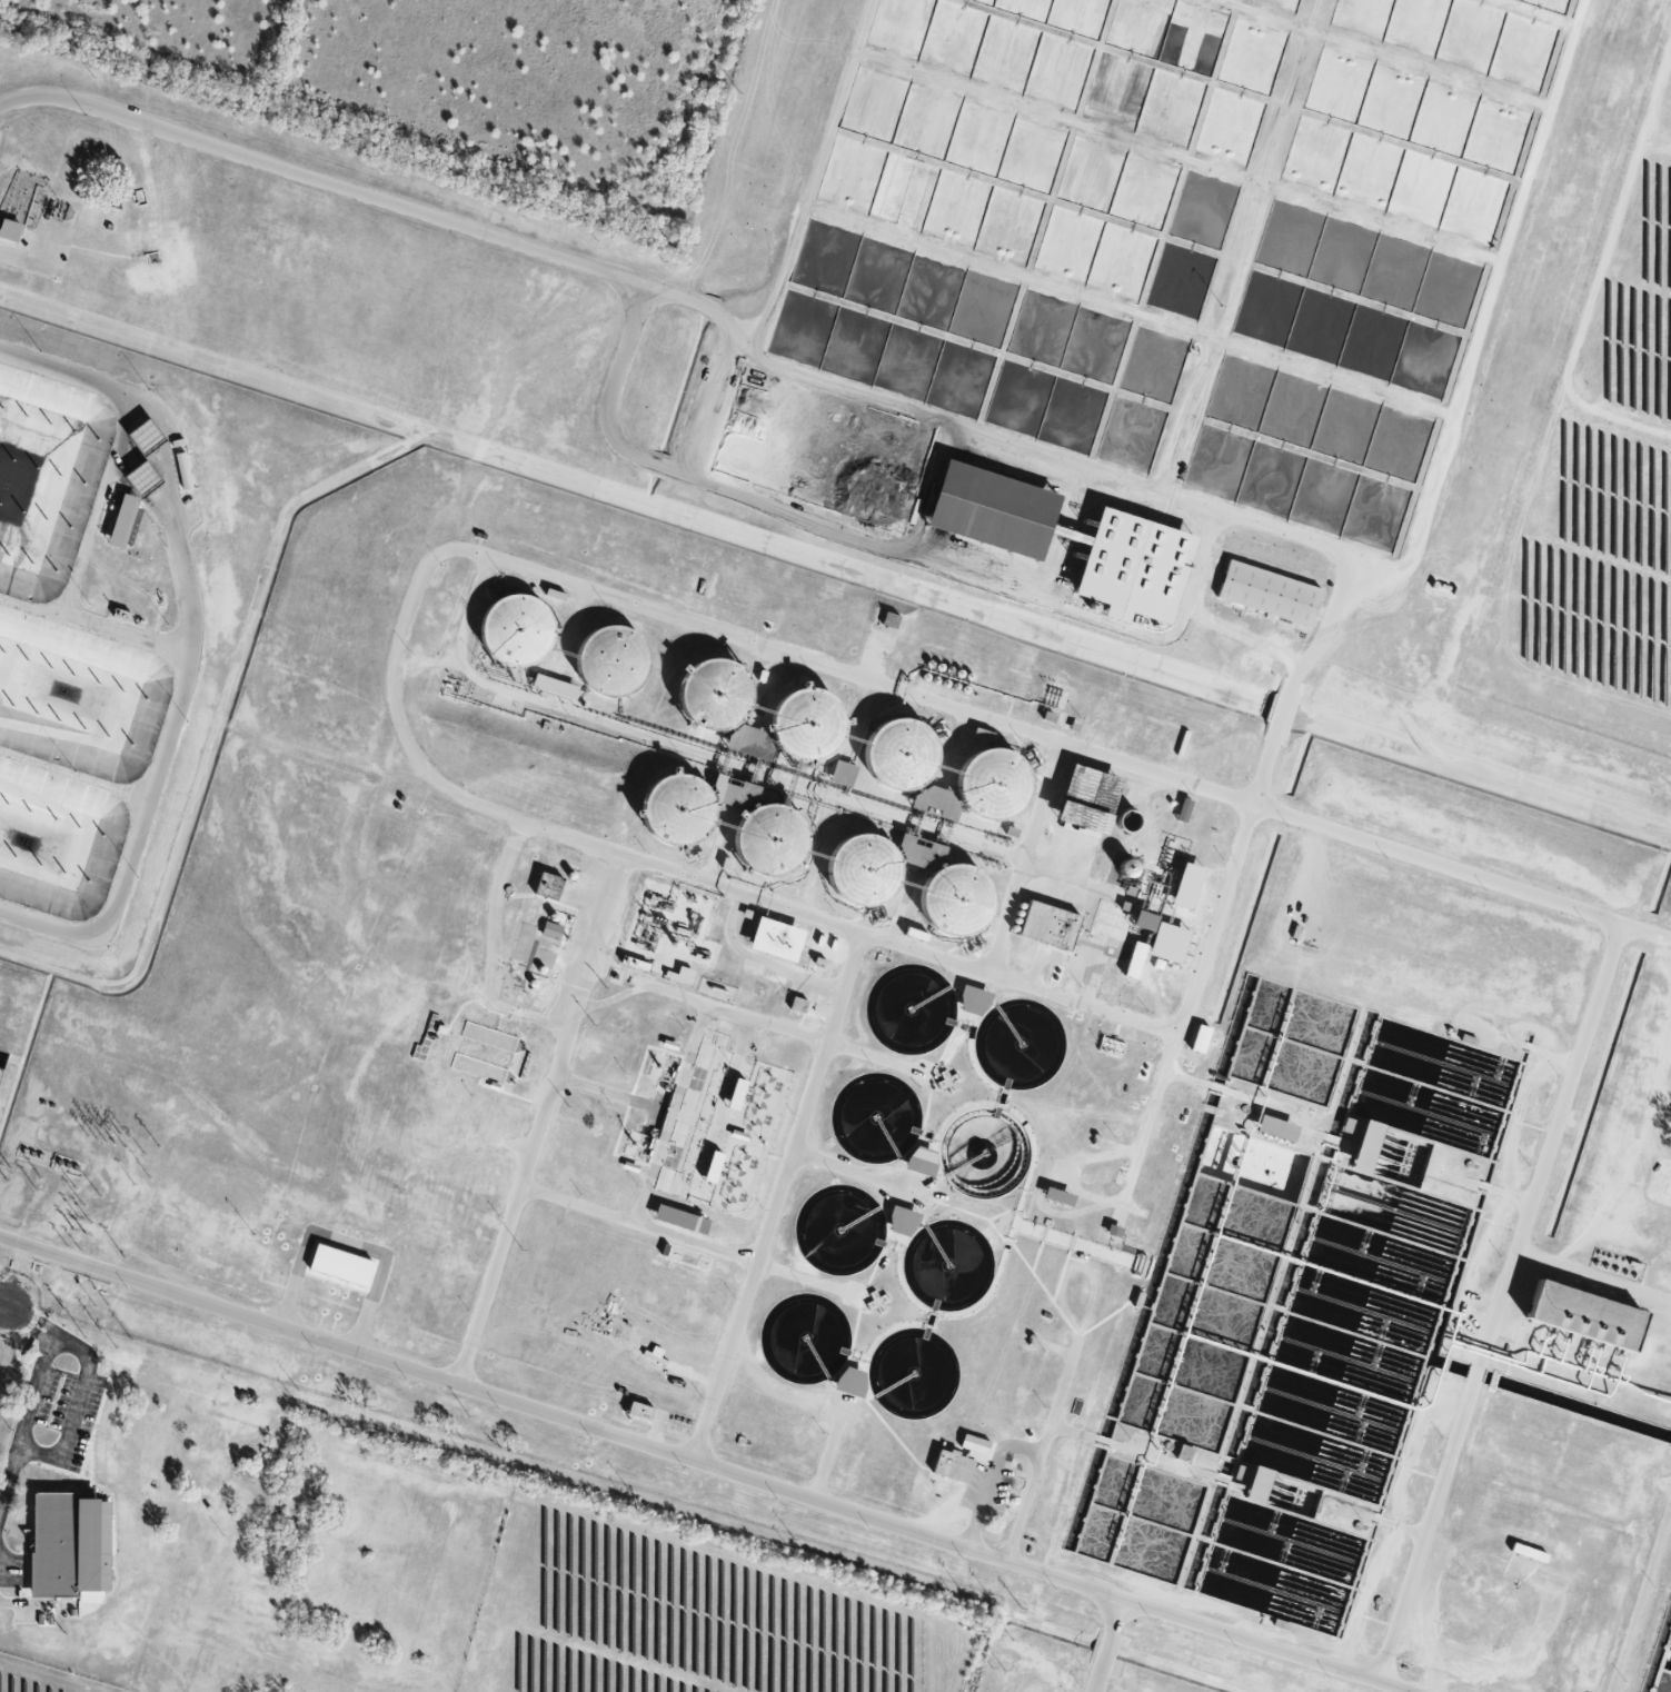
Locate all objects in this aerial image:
road: (817, 178)
building: (9, 230)
road: (41, 262)
road: (623, 279)
road: (1488, 312)
road: (709, 404)
solar farm: (1599, 484)
building: (993, 510)
building: (122, 521)
road: (835, 529)
building: (1134, 567)
building: (1269, 594)
building: (513, 627)
road: (190, 648)
building: (613, 660)
road: (813, 669)
building: (555, 686)
road: (1294, 691)
building: (901, 753)
building: (842, 773)
building: (1088, 798)
building: (935, 802)
building: (1184, 809)
wastewater plant: (832, 865)
building: (1187, 885)
building: (548, 886)
building: (1148, 903)
building: (1048, 925)
building: (551, 930)
building: (776, 938)
building: (1168, 942)
road: (902, 949)
road: (763, 959)
building: (1135, 959)
building: (973, 1001)
building: (797, 1004)
road: (747, 1022)
building: (1200, 1038)
power substation: (2, 1058)
building: (736, 1094)
road: (812, 1103)
road: (668, 1117)
road: (541, 1122)
building: (1276, 1127)
building: (1362, 1141)
building: (922, 1161)
road: (855, 1174)
building: (1058, 1196)
building: (680, 1218)
building: (903, 1221)
road: (638, 1228)
building: (1114, 1231)
building: (342, 1266)
road: (1592, 1275)
road: (1504, 1277)
road: (1, 1303)
road: (1, 1308)
road: (228, 1308)
road: (16, 1312)
building: (1587, 1315)
road: (53, 1337)
road: (724, 1362)
solar farm: (6, 1367)
road: (2, 1377)
building: (851, 1381)
building: (640, 1411)
building: (975, 1447)
road: (51, 1455)
road: (824, 1459)
building: (953, 1465)
road: (9, 1475)
road: (987, 1476)
road: (787, 1490)
road: (1019, 1512)
building: (69, 1545)
solar farm: (703, 1611)
road: (1104, 1645)
road: (1263, 1645)
solar farm: (42, 1679)

